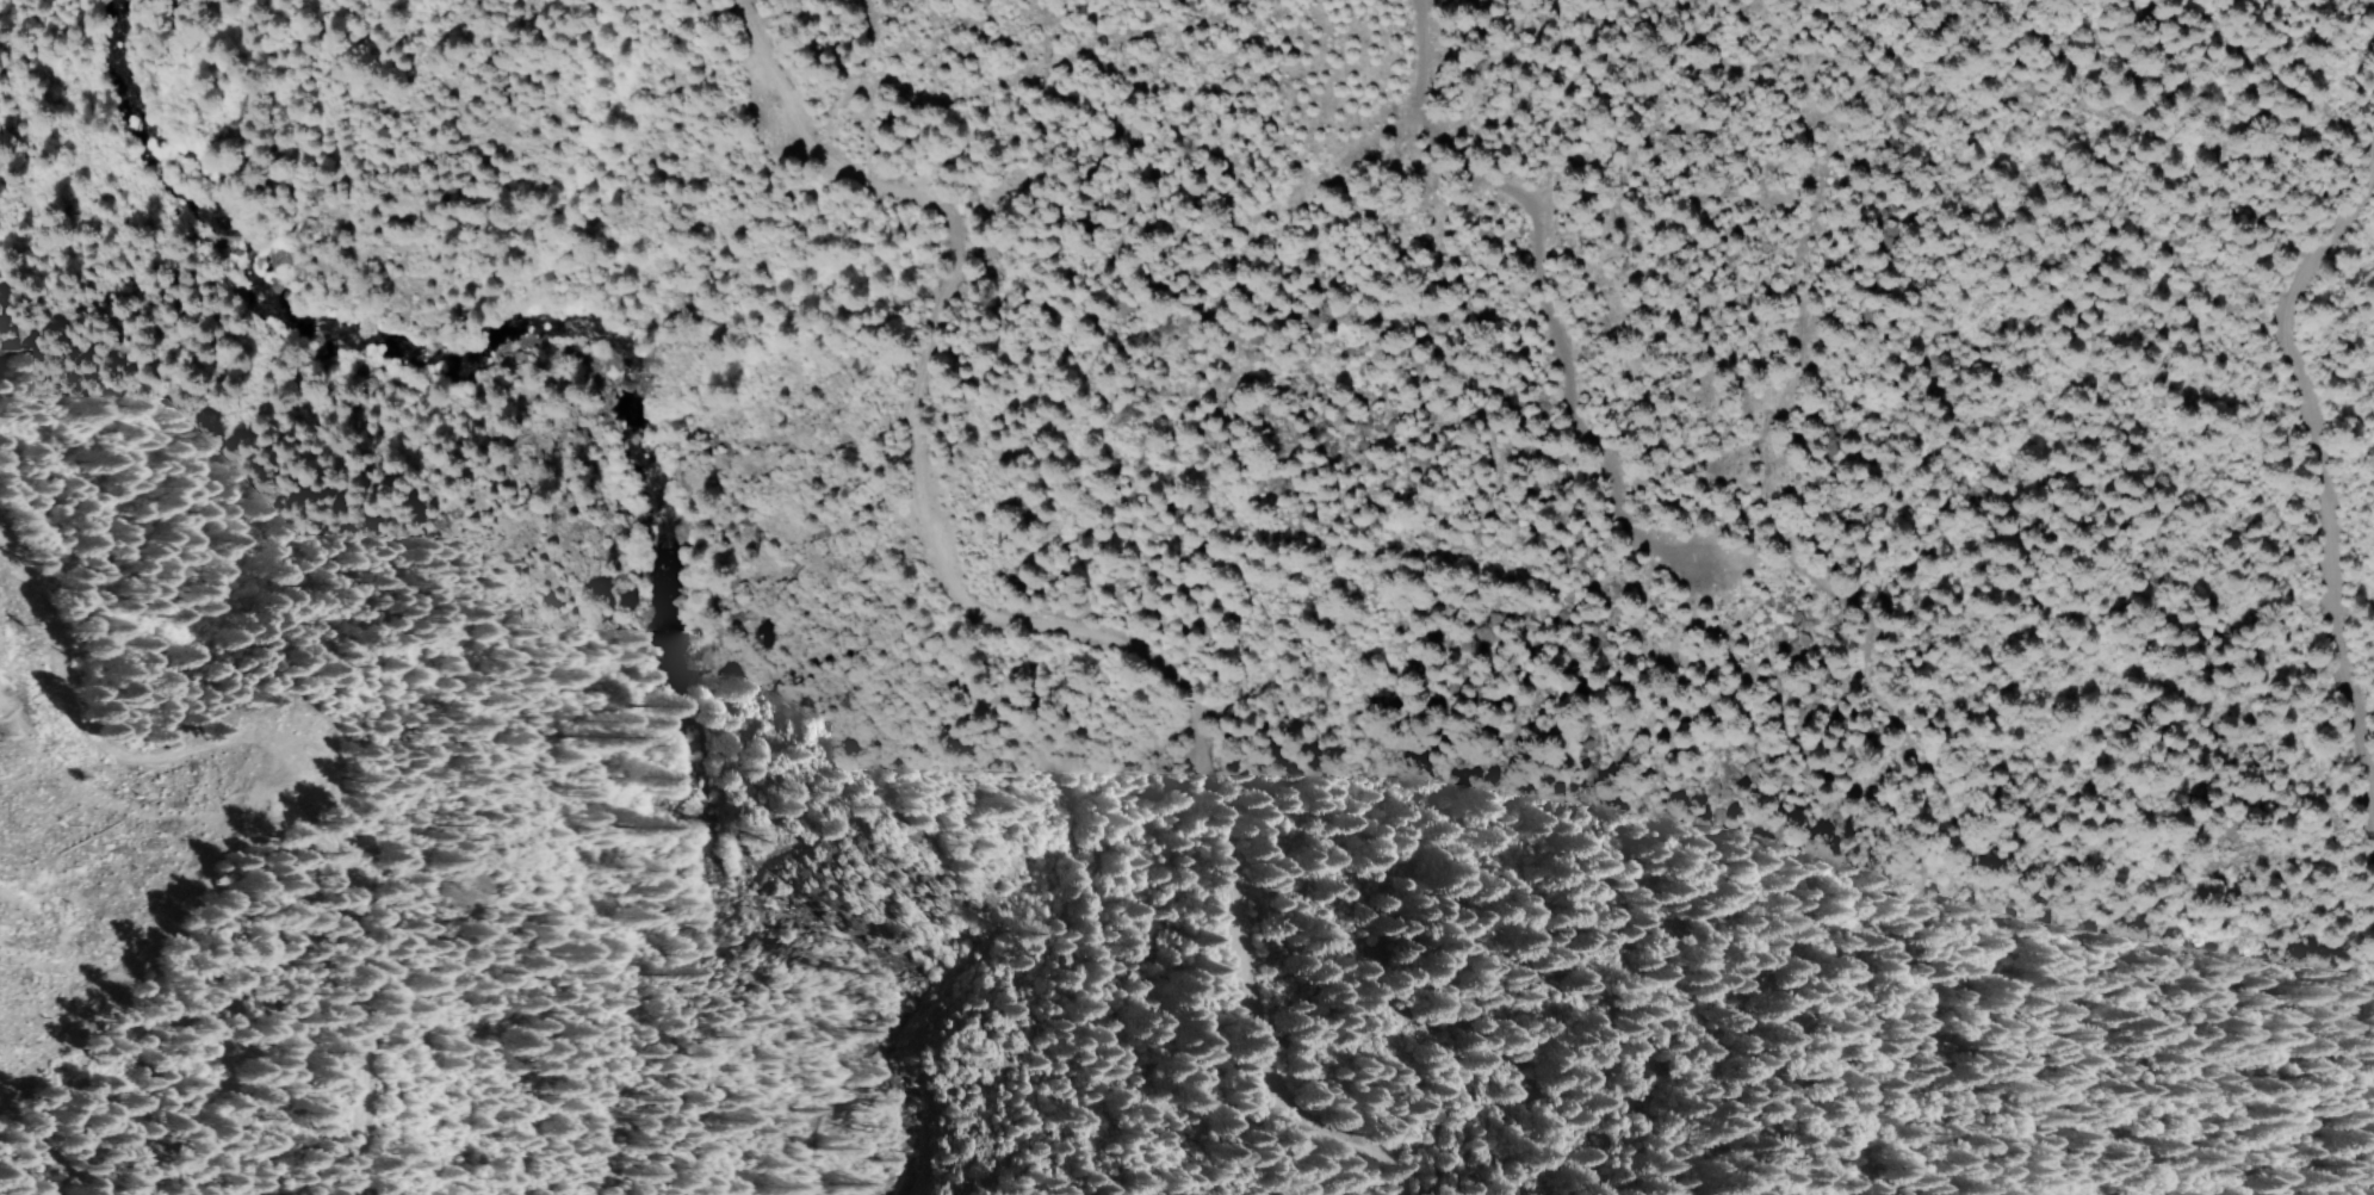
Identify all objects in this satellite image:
road: (2270, 469)

